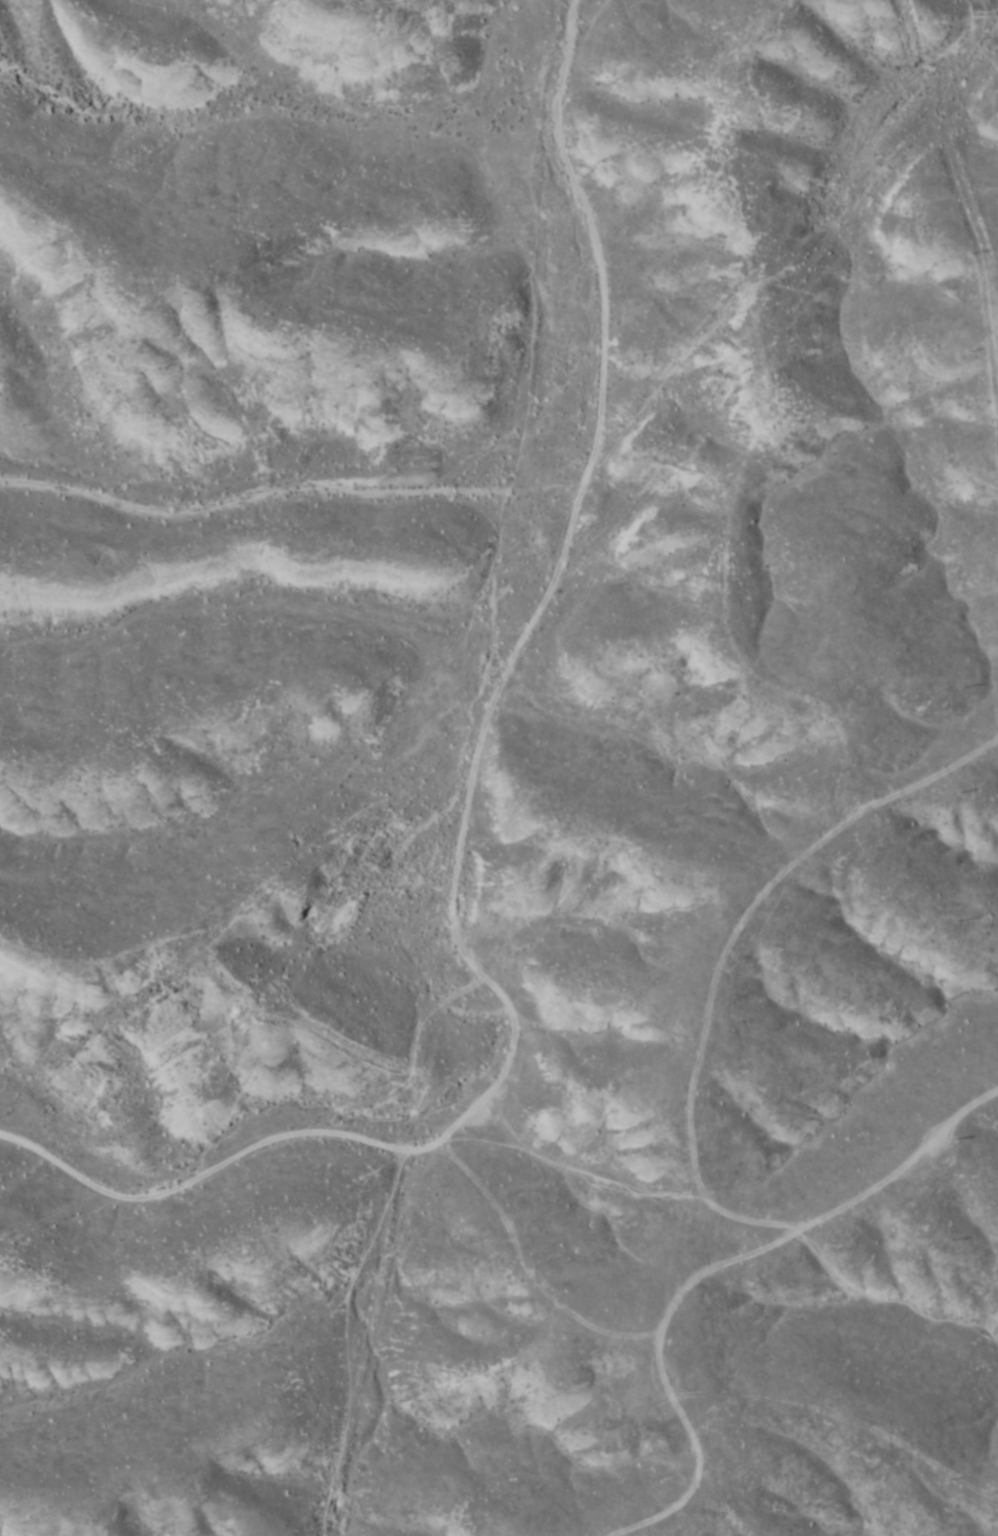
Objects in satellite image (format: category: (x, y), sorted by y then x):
road: (581, 221)
road: (283, 455)
road: (476, 726)
crop: (499, 769)
road: (741, 1100)
road: (860, 1219)

